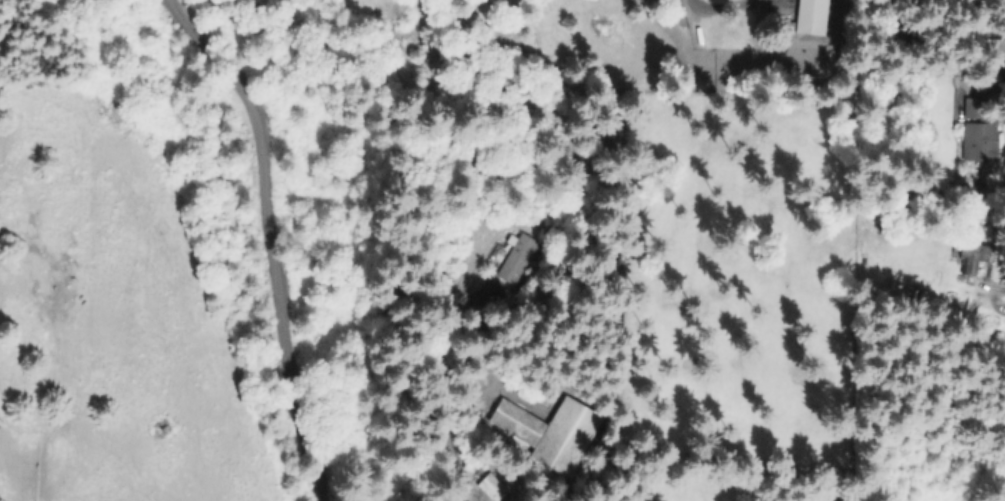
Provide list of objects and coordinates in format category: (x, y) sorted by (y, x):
building: (990, 51)
building: (973, 107)
building: (981, 141)
road: (274, 237)
building: (974, 256)
building: (518, 258)
road: (988, 294)
building: (518, 422)
building: (568, 437)
road: (462, 488)
building: (493, 488)

